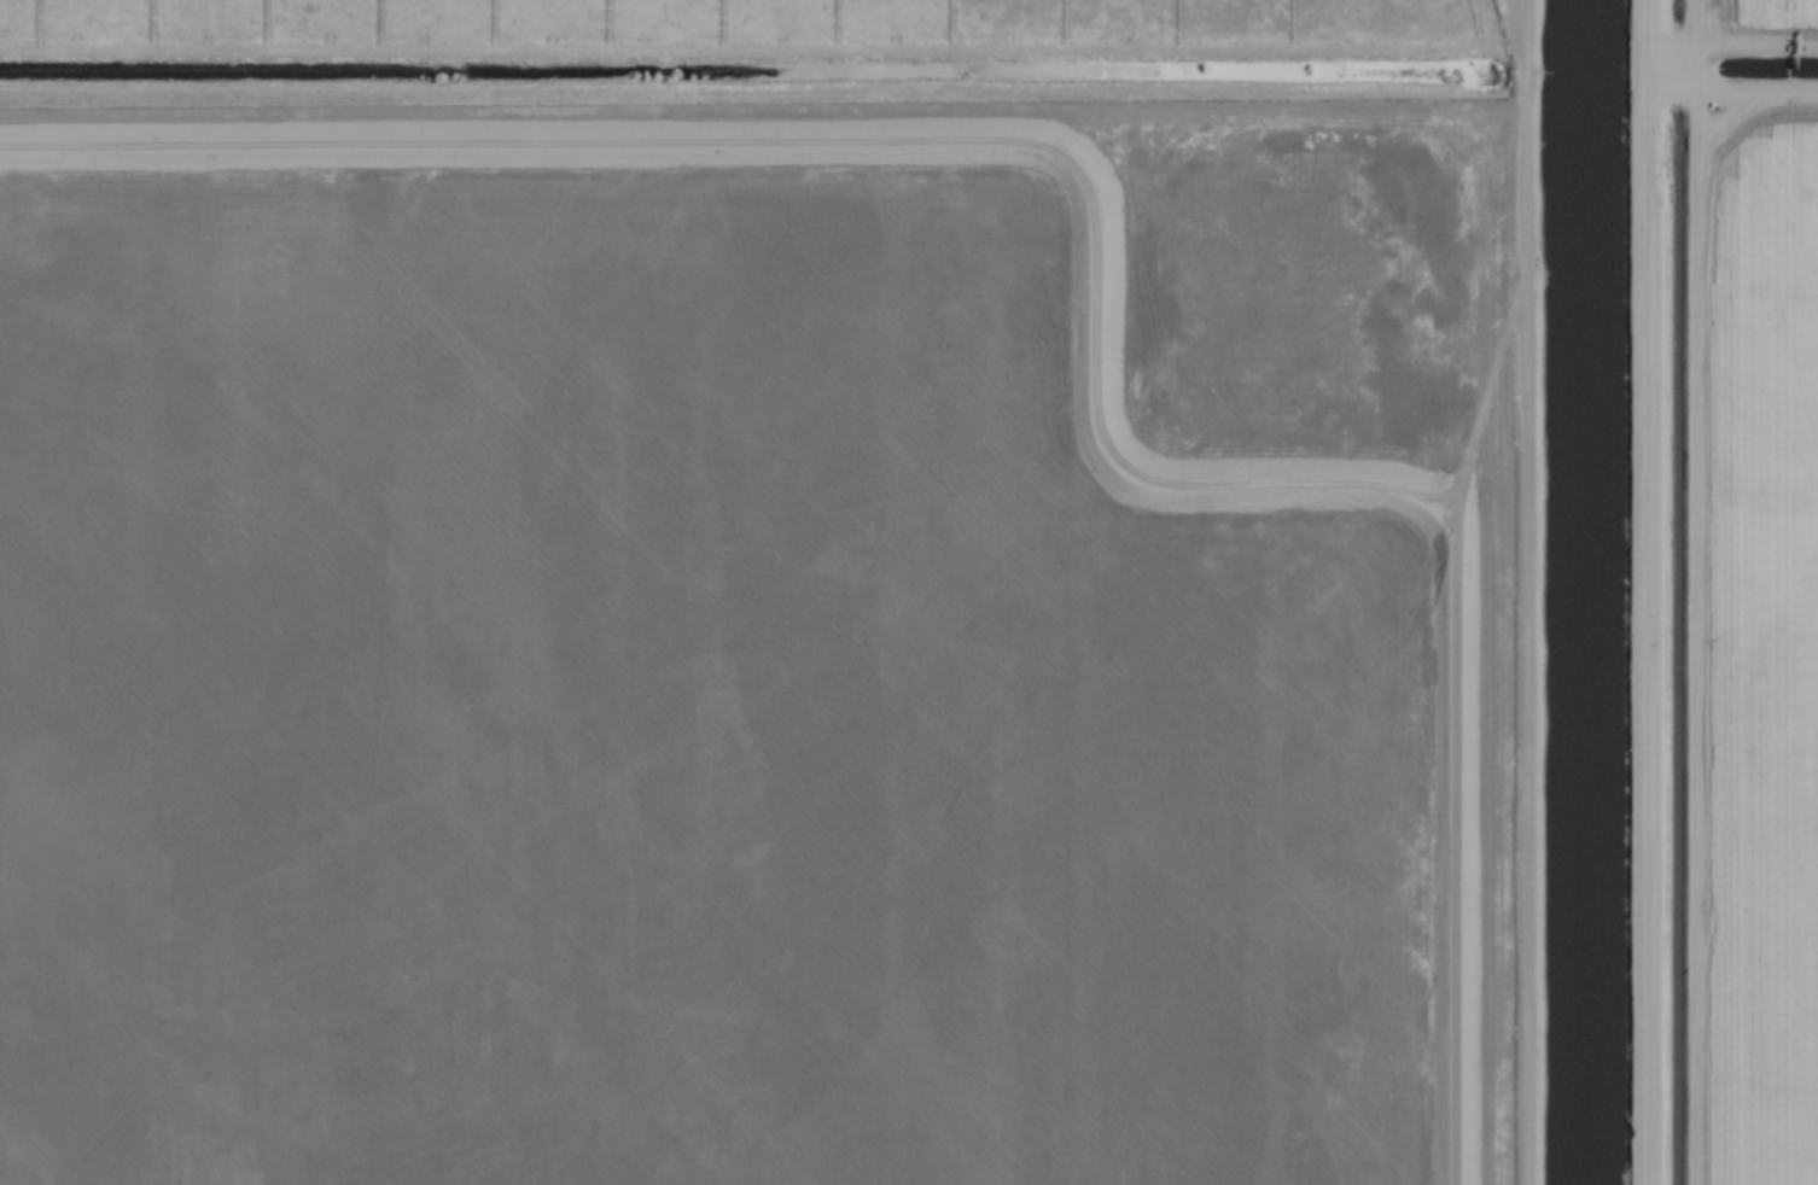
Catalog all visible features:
road: (1719, 92)
road: (1621, 592)

